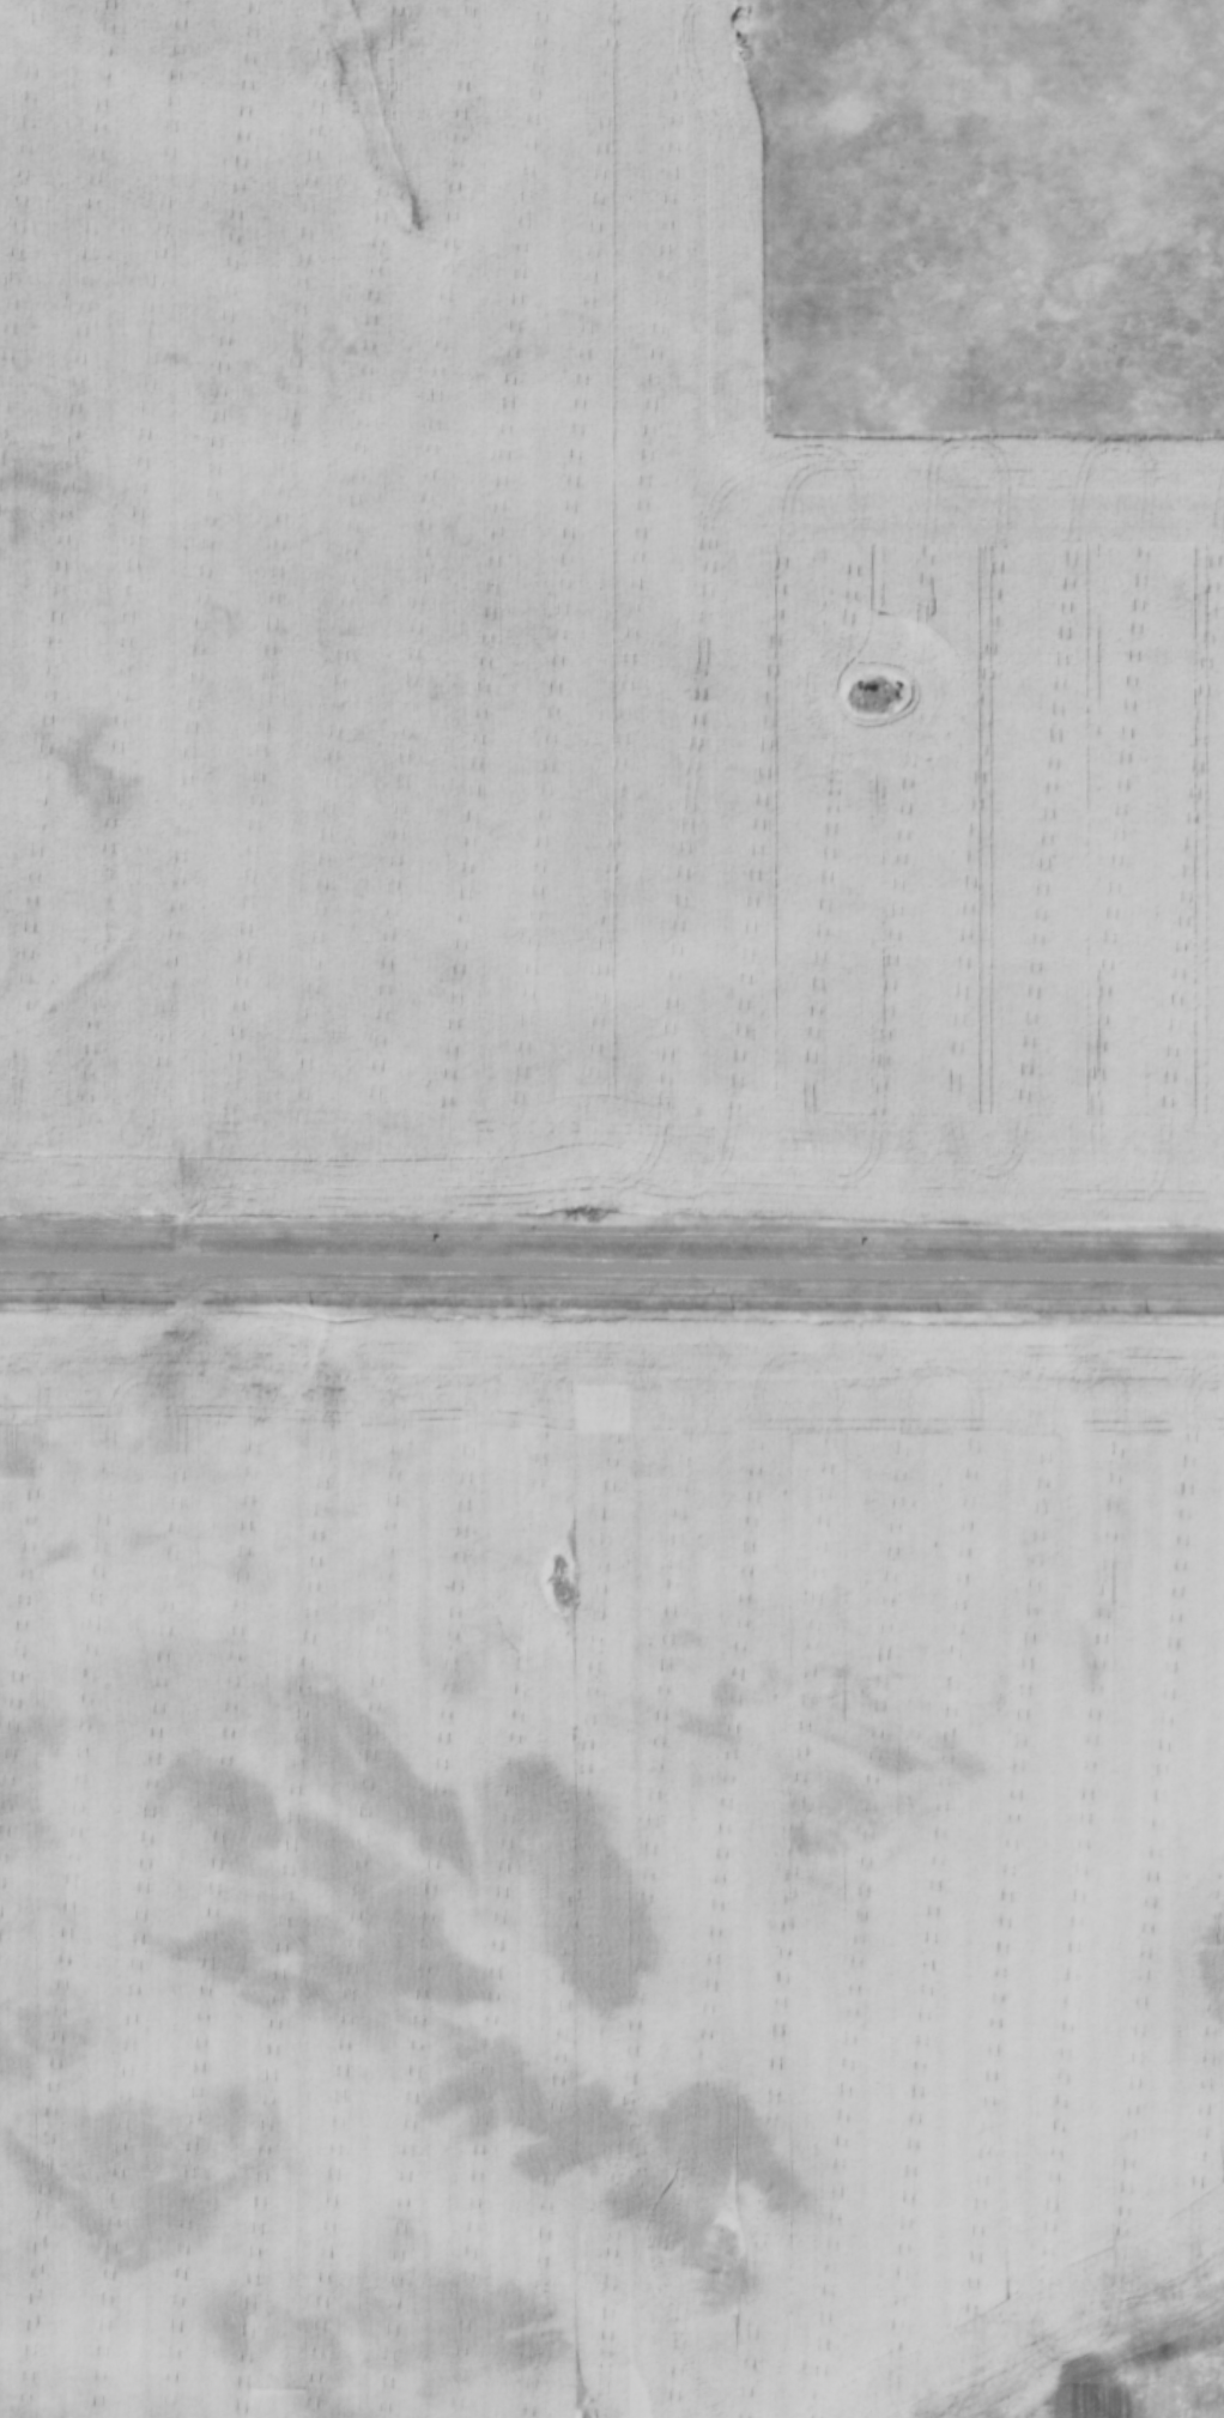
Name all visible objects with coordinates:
road: (611, 1265)

